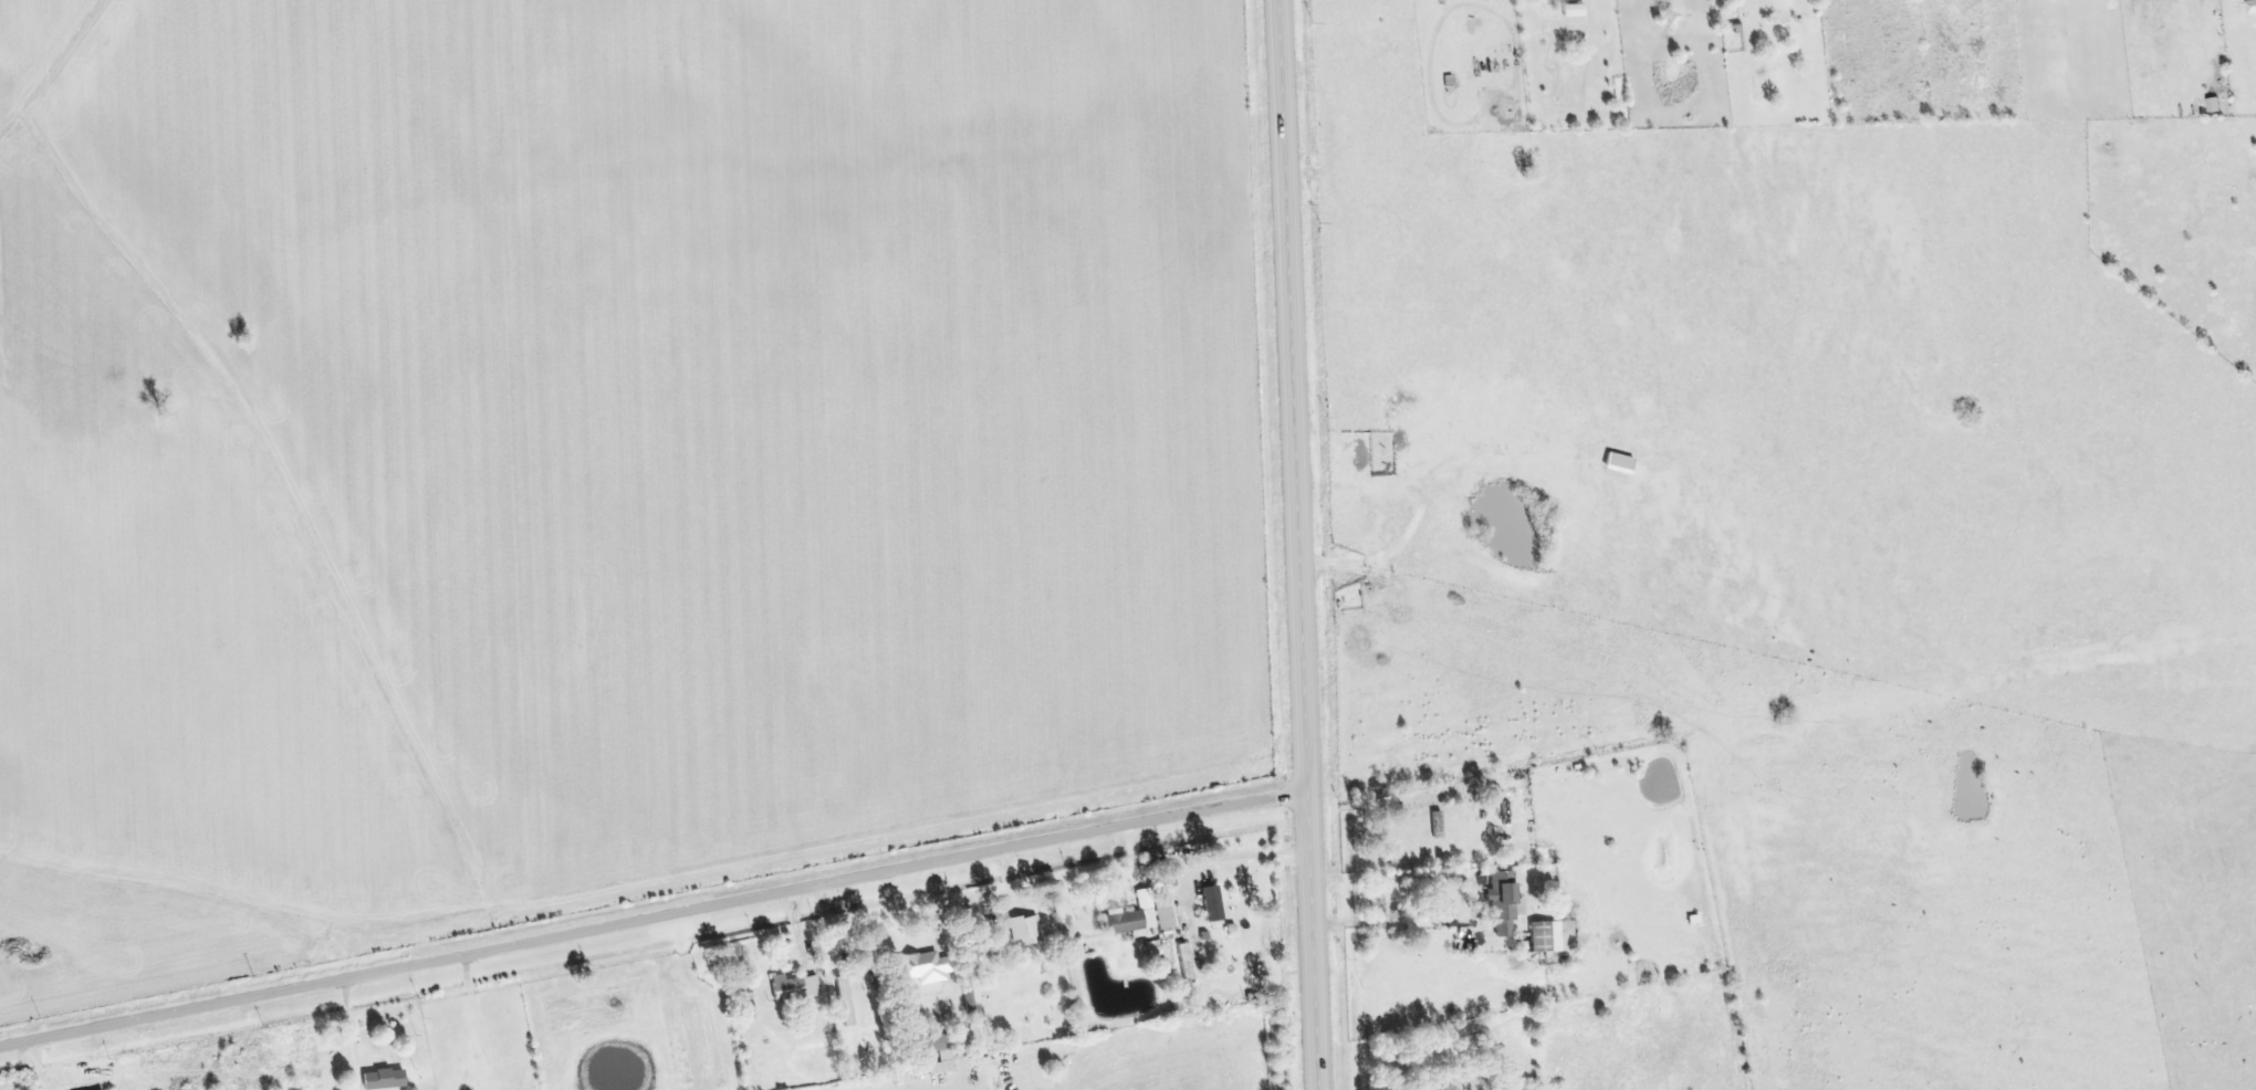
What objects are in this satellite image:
building: (2255, 3)
building: (1576, 11)
building: (1620, 464)
road: (1292, 545)
building: (1213, 904)
building: (1504, 904)
road: (1471, 906)
building: (1164, 914)
building: (1134, 918)
road: (650, 922)
building: (1026, 931)
building: (1547, 939)
building: (1187, 964)
building: (921, 966)
building: (795, 988)
building: (846, 1002)
road: (477, 1026)
building: (933, 1045)
building: (385, 1080)

